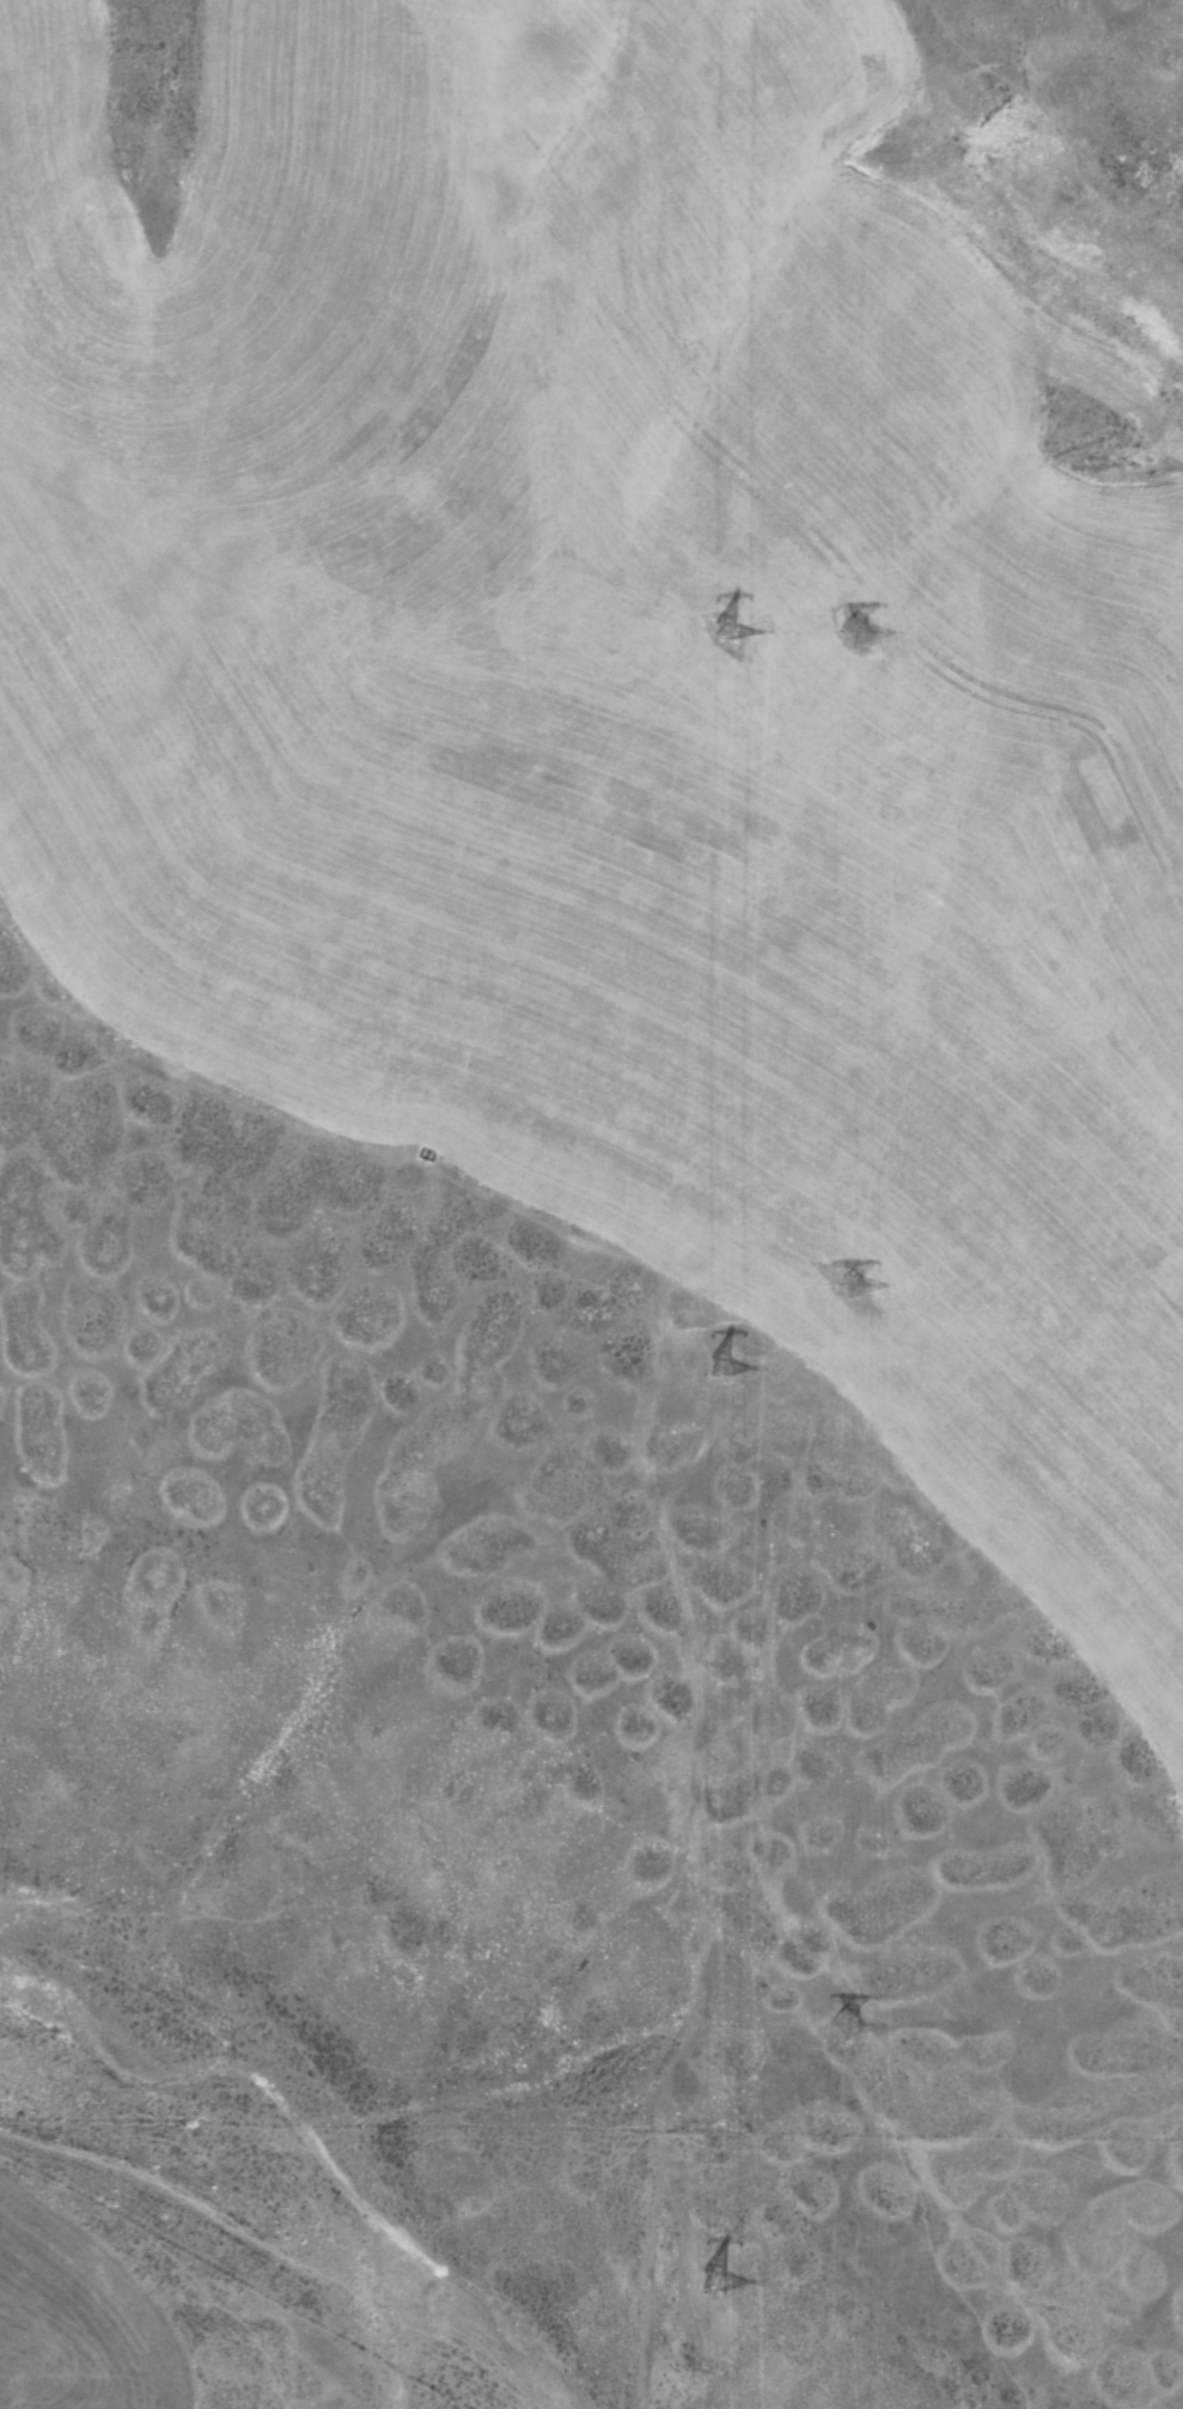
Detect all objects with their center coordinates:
power tower: (873, 627)
power tower: (738, 628)
power tower: (868, 1282)
power tower: (727, 1368)
power tower: (862, 2045)
power tower: (726, 2280)

